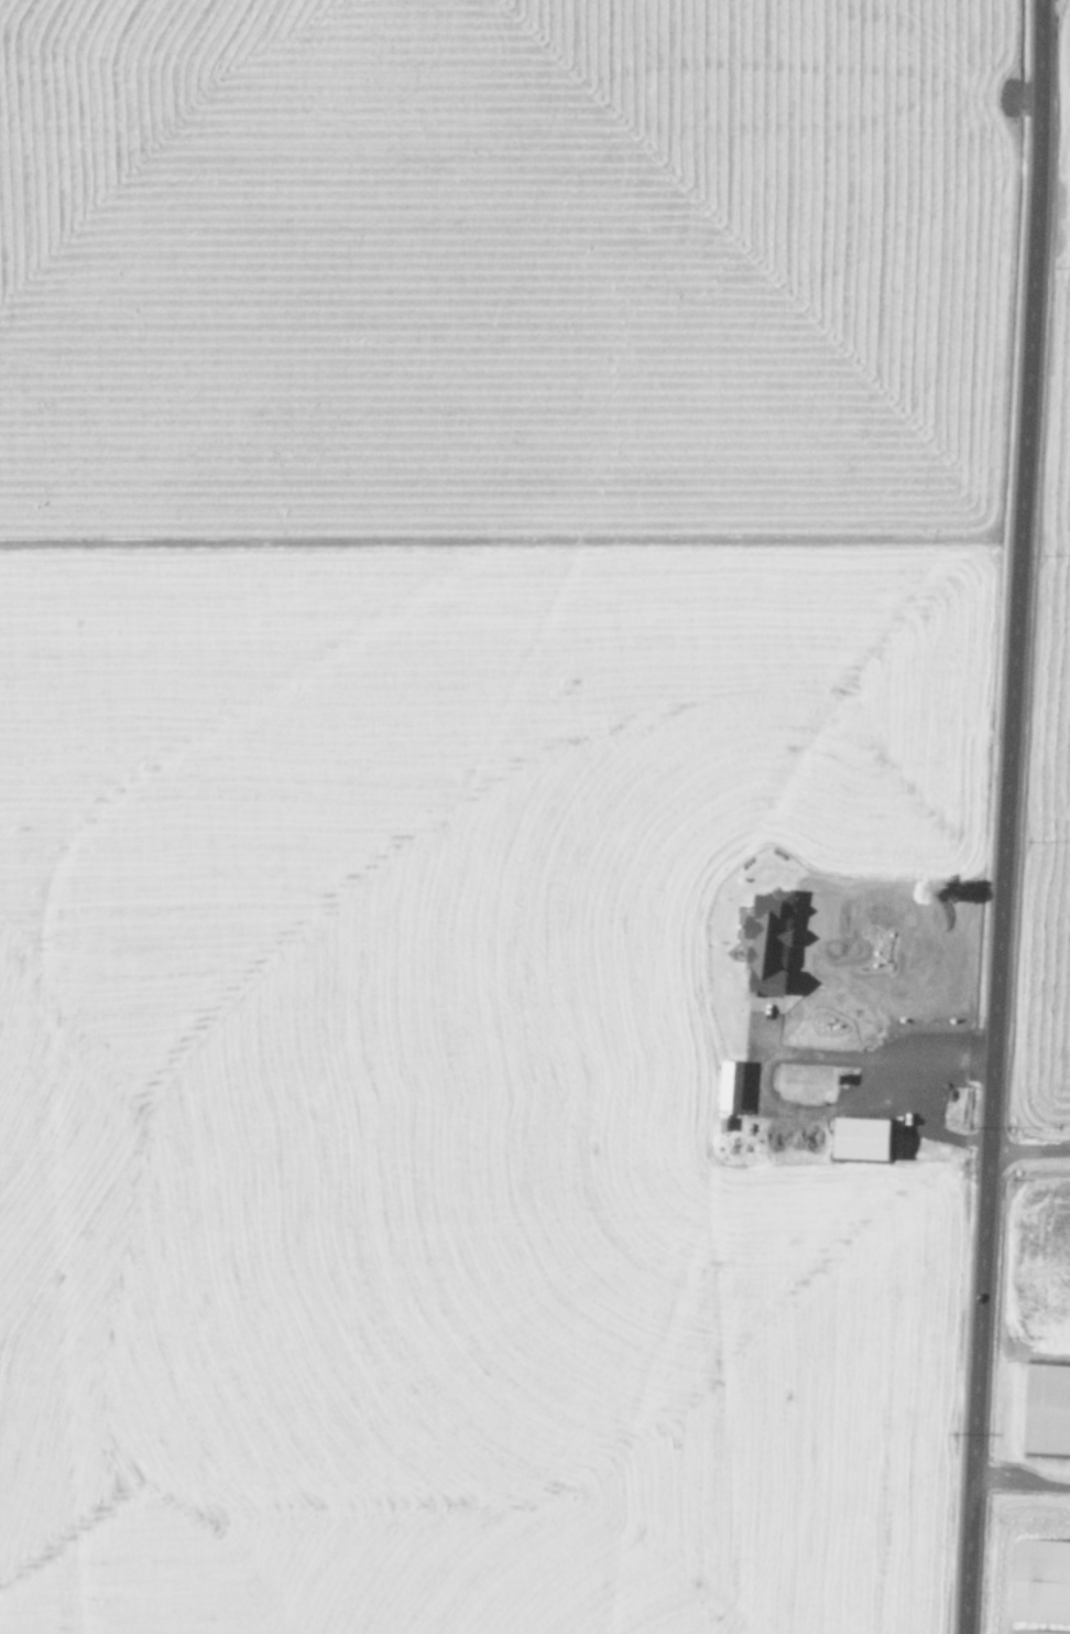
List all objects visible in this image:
crop: (473, 807)
road: (994, 816)
building: (764, 941)
building: (837, 1078)
building: (727, 1087)
building: (721, 1123)
building: (856, 1137)
road: (1024, 1147)
crop: (1040, 1153)
building: (1044, 1409)
building: (1038, 1579)
building: (1033, 1631)

